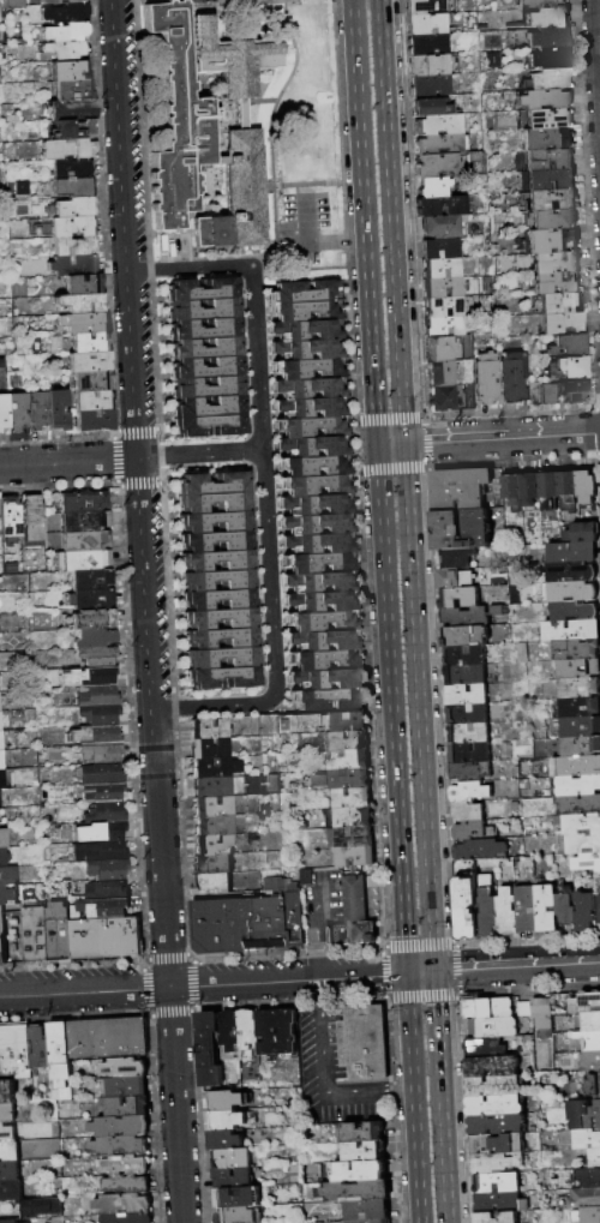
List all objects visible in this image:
parking lot: (178, 0)
building: (59, 1)
building: (13, 4)
building: (539, 4)
building: (425, 6)
building: (62, 12)
building: (550, 17)
building: (428, 25)
building: (62, 31)
building: (550, 38)
building: (518, 40)
road: (596, 43)
building: (430, 46)
building: (62, 50)
building: (234, 56)
building: (551, 59)
building: (431, 65)
building: (67, 70)
building: (551, 79)
building: (432, 86)
building: (71, 90)
building: (545, 100)
building: (430, 107)
road: (270, 115)
building: (548, 119)
building: (180, 120)
building: (77, 124)
building: (439, 125)
building: (546, 139)
building: (444, 144)
building: (68, 149)
building: (544, 160)
building: (439, 166)
building: (71, 178)
road: (348, 180)
building: (548, 180)
road: (298, 181)
road: (268, 184)
building: (244, 187)
building: (434, 187)
road: (295, 192)
building: (548, 199)
building: (442, 205)
building: (74, 206)
road: (305, 217)
building: (554, 218)
road: (389, 221)
parking lot: (304, 222)
road: (364, 222)
building: (443, 226)
building: (211, 233)
building: (72, 236)
road: (287, 238)
road: (336, 239)
building: (552, 241)
building: (443, 250)
road: (256, 260)
building: (556, 263)
building: (73, 265)
road: (329, 265)
road: (188, 268)
building: (443, 269)
building: (83, 283)
building: (557, 283)
building: (445, 288)
building: (202, 290)
building: (304, 293)
building: (79, 302)
building: (562, 302)
building: (444, 307)
building: (203, 310)
building: (307, 312)
building: (83, 324)
building: (562, 324)
building: (446, 326)
building: (203, 329)
building: (307, 332)
building: (88, 343)
building: (568, 346)
building: (439, 348)
building: (205, 349)
building: (312, 352)
road: (257, 358)
building: (89, 362)
building: (206, 368)
building: (566, 368)
building: (308, 371)
building: (442, 373)
building: (514, 377)
building: (486, 378)
building: (89, 382)
building: (208, 389)
building: (310, 391)
building: (565, 392)
building: (443, 398)
building: (91, 400)
road: (136, 401)
building: (59, 408)
building: (37, 409)
building: (209, 409)
building: (311, 410)
building: (4, 412)
building: (18, 412)
building: (94, 420)
building: (210, 428)
building: (311, 430)
road: (136, 432)
road: (56, 436)
road: (500, 437)
road: (389, 443)
traffic signals: (402, 443)
traffic signals: (376, 444)
building: (312, 449)
road: (200, 452)
road: (158, 455)
road: (114, 457)
road: (70, 462)
building: (312, 469)
road: (138, 482)
road: (58, 485)
building: (215, 485)
building: (588, 487)
building: (313, 488)
building: (461, 490)
building: (532, 490)
building: (551, 490)
building: (569, 490)
building: (514, 491)
building: (83, 504)
building: (211, 505)
building: (317, 508)
building: (10, 518)
building: (30, 521)
building: (84, 522)
building: (212, 526)
building: (319, 527)
building: (461, 530)
building: (581, 533)
building: (85, 542)
building: (214, 545)
building: (320, 546)
building: (571, 552)
building: (458, 558)
building: (86, 562)
building: (215, 564)
building: (322, 565)
building: (570, 572)
building: (455, 578)
road: (270, 580)
building: (90, 581)
building: (216, 583)
building: (323, 584)
road: (166, 587)
building: (572, 592)
building: (460, 598)
building: (91, 600)
building: (217, 602)
building: (324, 605)
building: (572, 611)
building: (464, 618)
building: (92, 619)
building: (218, 623)
building: (325, 624)
building: (570, 630)
building: (466, 636)
building: (94, 639)
building: (218, 642)
building: (326, 643)
building: (575, 649)
building: (464, 655)
building: (94, 658)
building: (220, 661)
building: (328, 663)
building: (578, 669)
building: (466, 675)
building: (95, 678)
building: (221, 682)
building: (329, 682)
building: (578, 688)
building: (467, 695)
building: (96, 697)
building: (320, 702)
road: (172, 706)
road: (206, 706)
road: (416, 706)
road: (390, 708)
building: (580, 708)
building: (468, 714)
building: (97, 717)
road: (130, 721)
building: (343, 723)
building: (581, 727)
building: (208, 731)
building: (469, 733)
building: (97, 736)
building: (344, 743)
building: (580, 747)
building: (209, 750)
building: (469, 754)
building: (98, 755)
building: (346, 761)
building: (0, 762)
building: (575, 767)
building: (210, 768)
building: (470, 773)
building: (98, 775)
building: (347, 778)
building: (0, 779)
building: (575, 786)
building: (210, 787)
building: (469, 792)
building: (101, 795)
building: (348, 797)
building: (578, 805)
building: (212, 808)
building: (468, 813)
building: (102, 814)
building: (350, 817)
building: (582, 825)
building: (214, 826)
building: (469, 831)
building: (102, 834)
building: (352, 837)
building: (1, 838)
road: (180, 838)
building: (583, 844)
building: (214, 846)
building: (481, 850)
building: (97, 855)
building: (0, 857)
building: (352, 857)
building: (587, 863)
building: (214, 865)
building: (104, 871)
building: (1, 877)
building: (212, 886)
building: (104, 891)
road: (350, 892)
building: (6, 894)
road: (370, 897)
road: (332, 898)
road: (389, 900)
building: (467, 900)
road: (370, 901)
road: (334, 903)
road: (352, 903)
road: (320, 904)
building: (599, 905)
road: (370, 906)
road: (334, 907)
building: (566, 907)
parking lot: (324, 909)
building: (488, 909)
building: (527, 909)
building: (546, 909)
building: (97, 910)
building: (355, 910)
road: (352, 912)
building: (509, 912)
building: (586, 912)
building: (1, 917)
building: (292, 918)
building: (263, 923)
building: (216, 925)
building: (2, 933)
building: (56, 933)
building: (34, 935)
building: (119, 939)
building: (84, 940)
road: (317, 940)
building: (2, 952)
road: (164, 959)
road: (71, 963)
road: (515, 966)
traffic signals: (431, 971)
road: (418, 972)
traffic signals: (406, 973)
road: (361, 975)
road: (188, 983)
road: (144, 985)
road: (158, 987)
road: (318, 995)
building: (586, 1003)
road: (169, 1008)
building: (498, 1008)
road: (169, 1013)
building: (542, 1013)
road: (73, 1015)
building: (589, 1021)
building: (476, 1029)
building: (227, 1030)
building: (246, 1032)
building: (275, 1032)
building: (108, 1037)
building: (590, 1041)
building: (362, 1043)
building: (40, 1048)
building: (485, 1048)
building: (206, 1049)
building: (16, 1051)
road: (320, 1051)
building: (61, 1060)
building: (590, 1062)
building: (492, 1066)
building: (125, 1068)
parking lot: (331, 1075)
building: (594, 1085)
building: (494, 1086)
building: (127, 1087)
road: (395, 1089)
road: (350, 1090)
building: (7, 1092)
road: (438, 1096)
road: (412, 1098)
building: (227, 1102)
building: (127, 1107)
building: (496, 1107)
building: (8, 1114)
building: (584, 1115)
building: (228, 1120)
building: (497, 1125)
building: (121, 1127)
building: (365, 1133)
building: (7, 1134)
building: (226, 1140)
building: (587, 1140)
building: (497, 1145)
building: (120, 1146)
building: (10, 1152)
building: (366, 1152)
building: (233, 1159)
building: (593, 1159)
building: (497, 1164)
building: (127, 1165)
building: (359, 1170)
building: (10, 1171)
building: (233, 1179)
building: (588, 1179)
building: (497, 1183)
building: (127, 1186)
building: (11, 1191)
building: (358, 1192)
building: (236, 1199)
building: (583, 1199)
building: (500, 1204)
building: (124, 1205)
building: (43, 1207)
building: (368, 1210)
building: (239, 1216)
building: (587, 1216)
building: (486, 1217)
building: (128, 1218)
building: (371, 1221)
building: (8, 1222)

